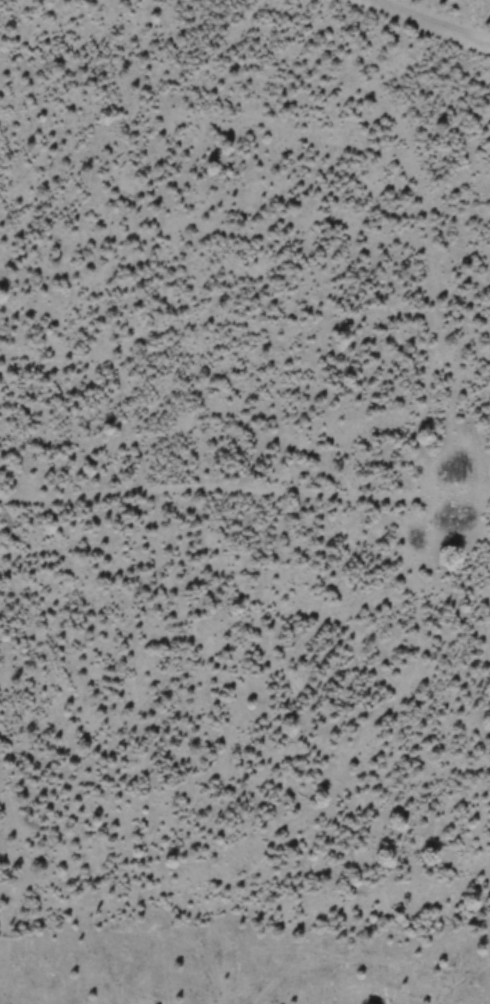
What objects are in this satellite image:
road: (431, 23)
road: (244, 492)

